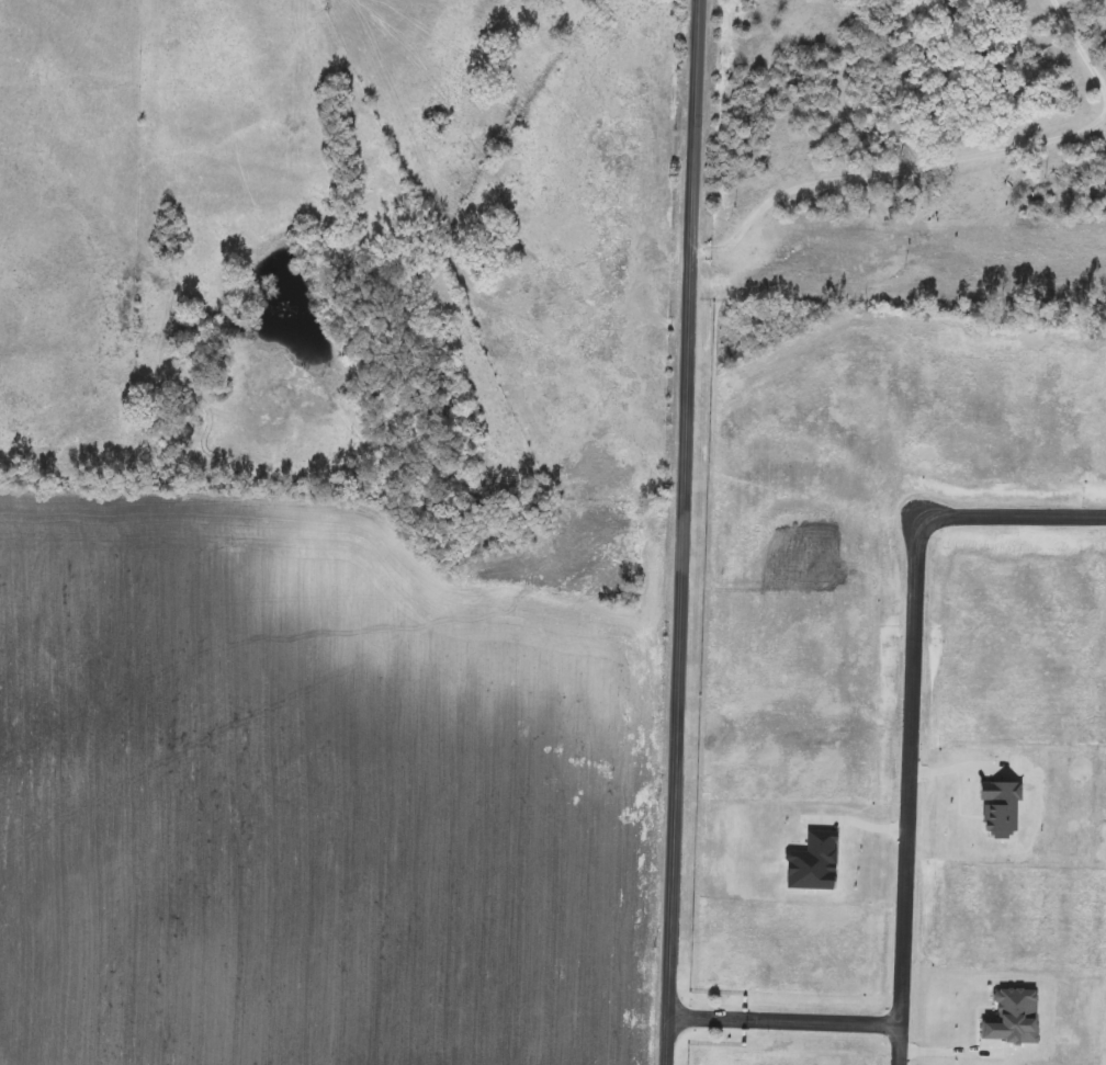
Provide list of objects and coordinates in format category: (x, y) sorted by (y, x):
road: (1077, 52)
road: (892, 168)
road: (1017, 520)
road: (682, 532)
road: (906, 792)
road: (855, 823)
road: (782, 1024)
road: (951, 1043)

